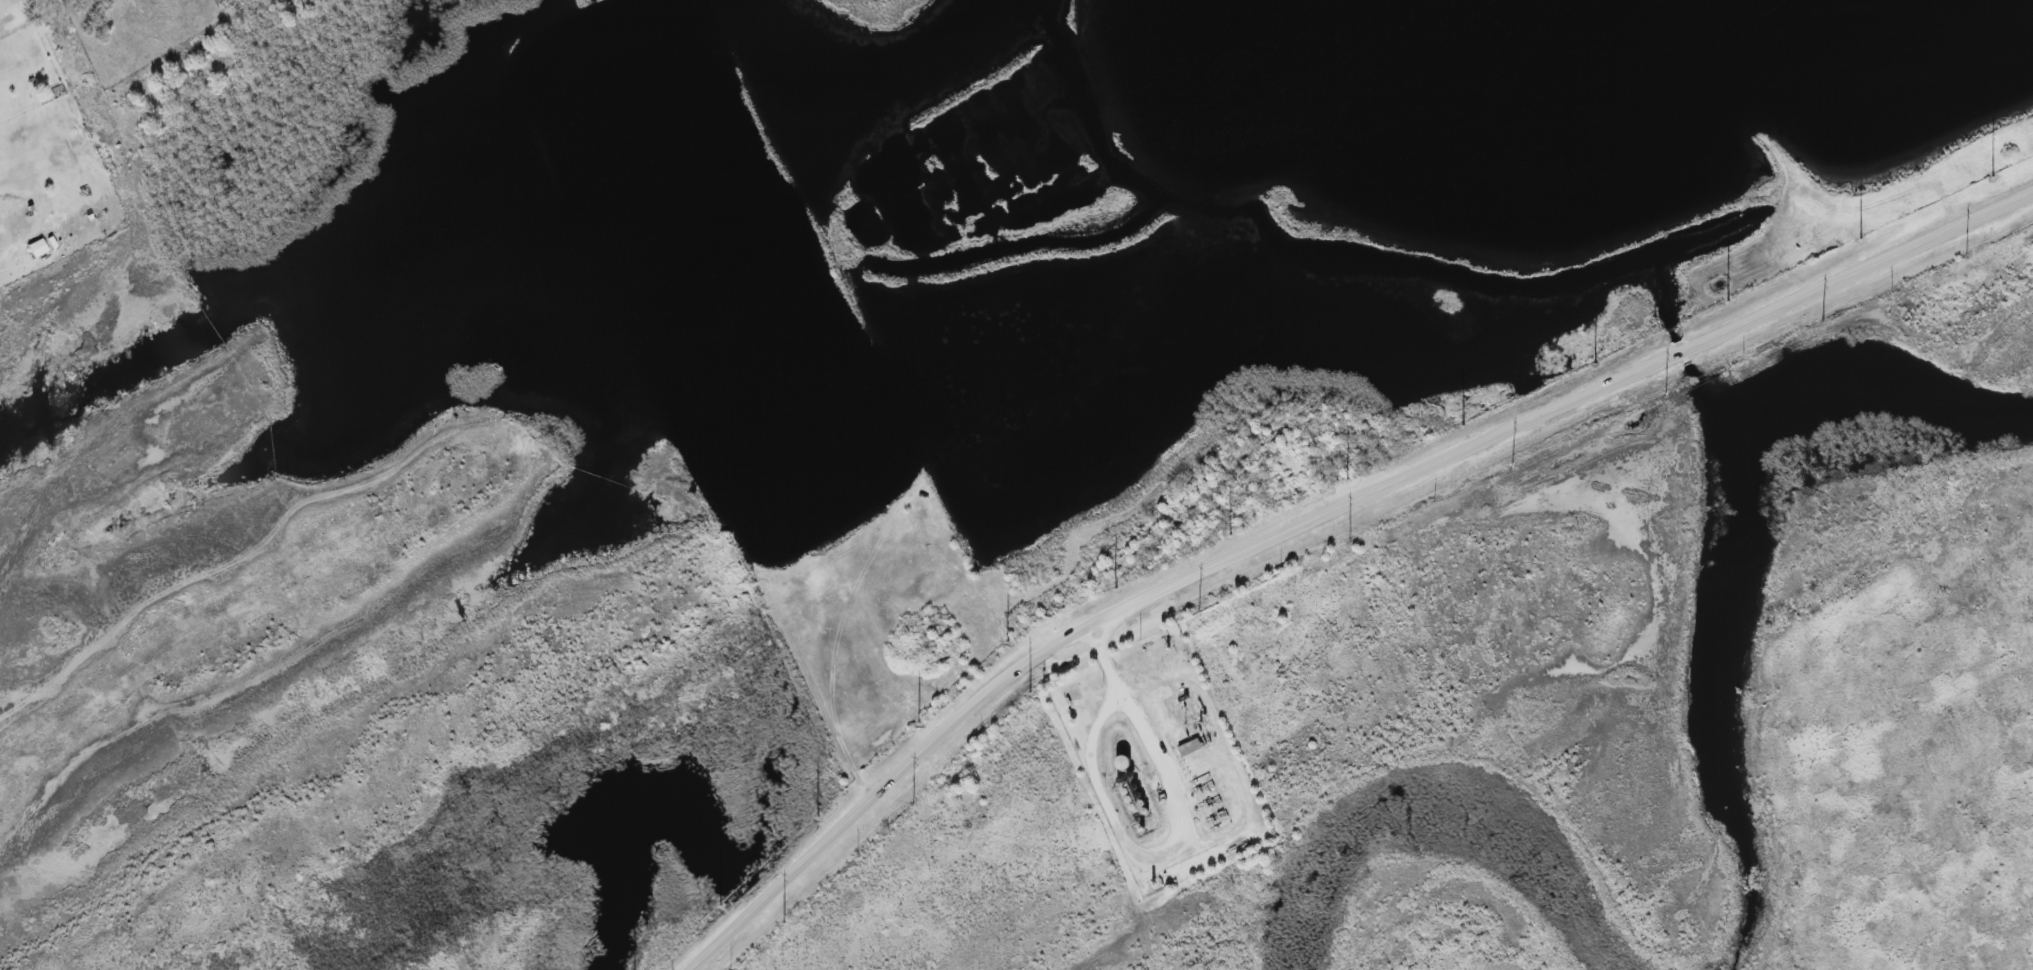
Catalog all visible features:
building: (37, 248)
road: (1321, 516)
road: (1104, 663)
building: (1189, 748)
building: (1122, 764)
building: (1134, 788)
building: (1125, 792)
building: (1137, 796)
building: (1129, 800)
building: (1141, 804)
building: (1133, 808)
building: (1145, 812)
road: (1152, 853)

